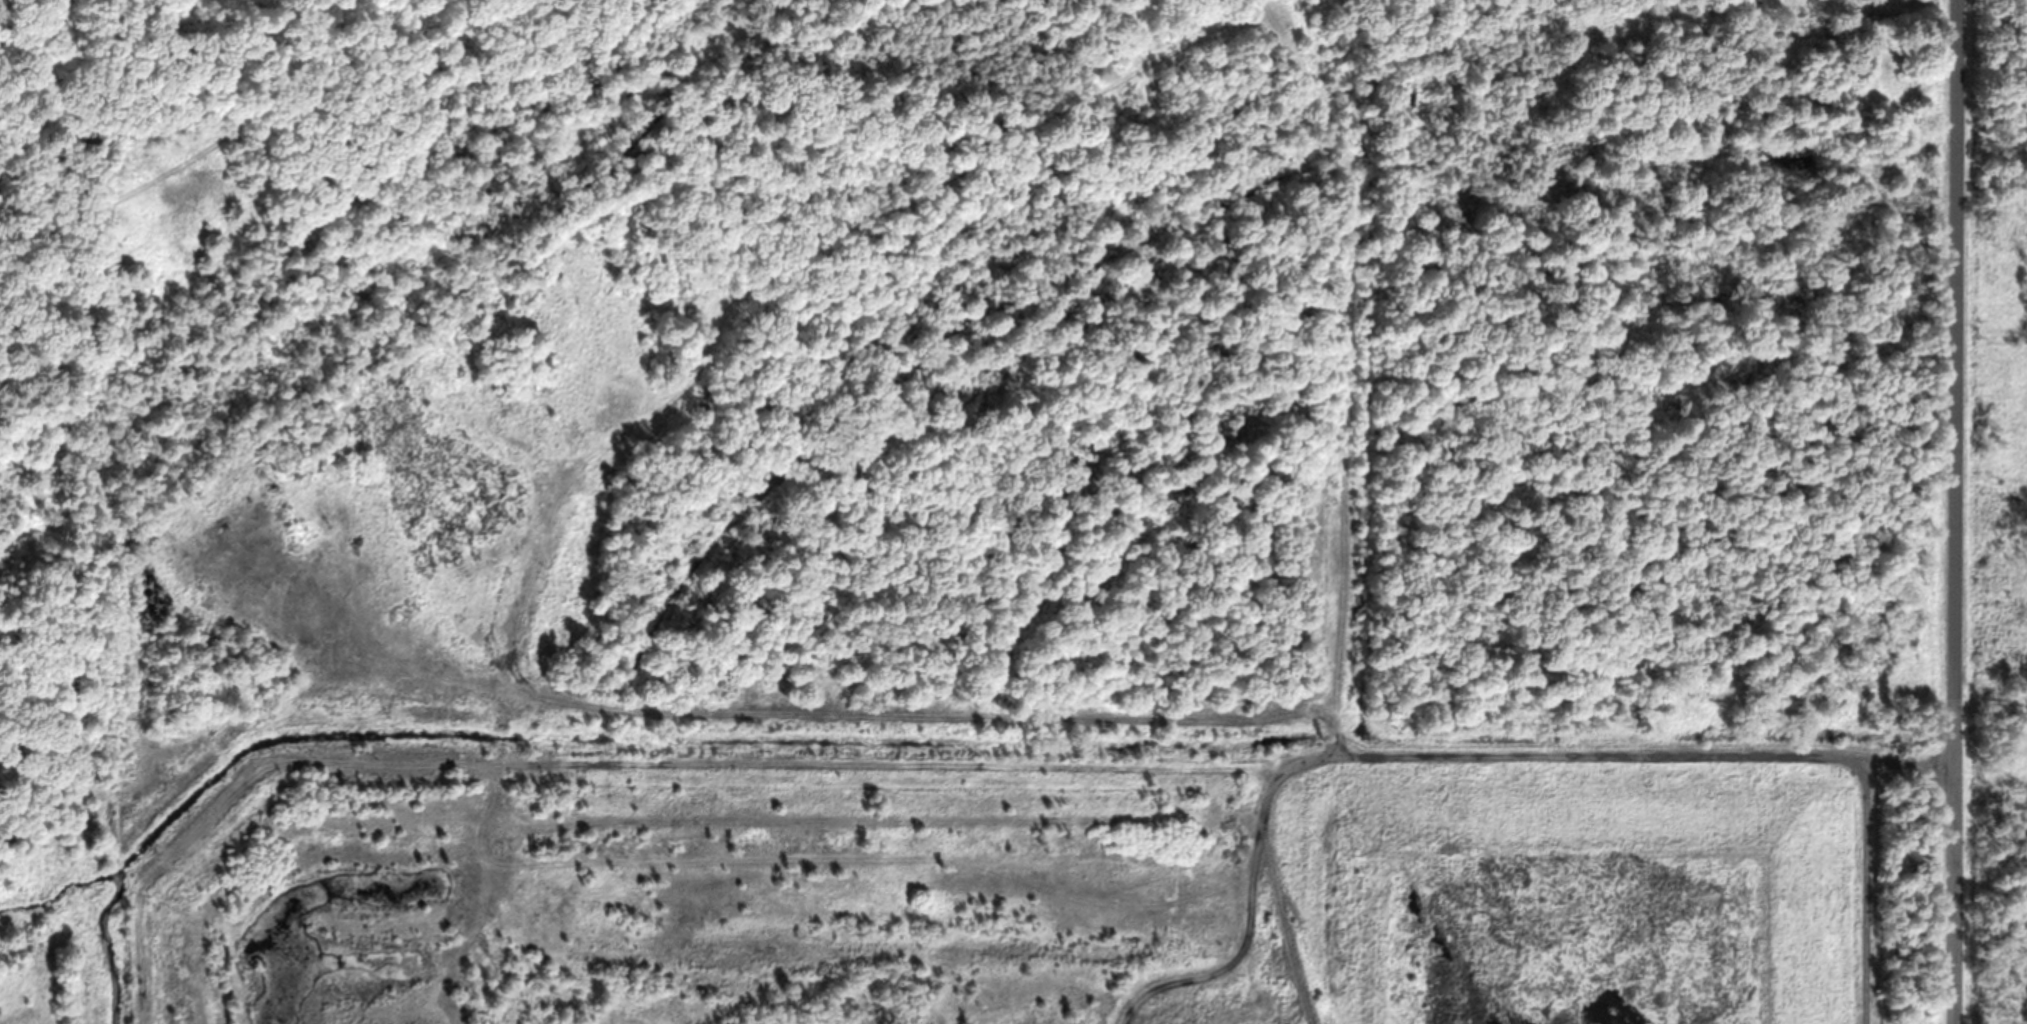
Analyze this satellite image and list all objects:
road: (1955, 512)

